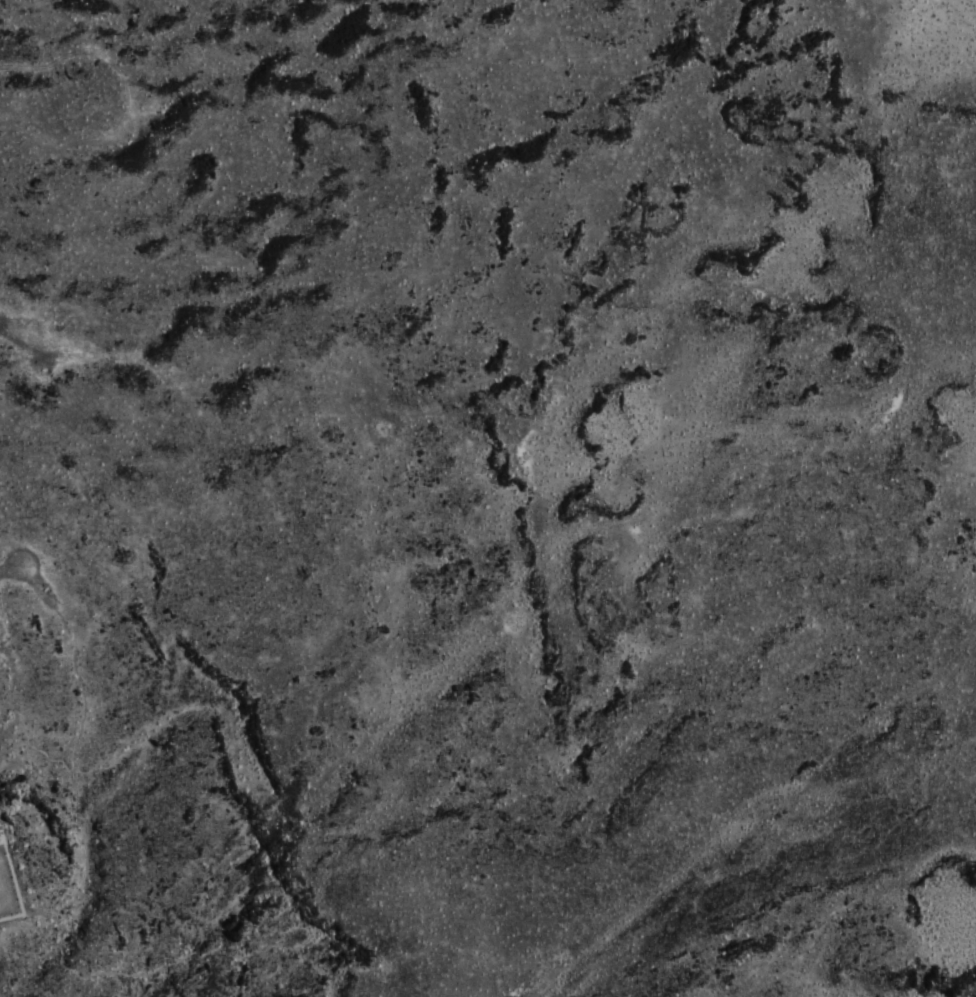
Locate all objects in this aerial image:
parking lot: (13, 880)
road: (6, 900)
road: (171, 960)

